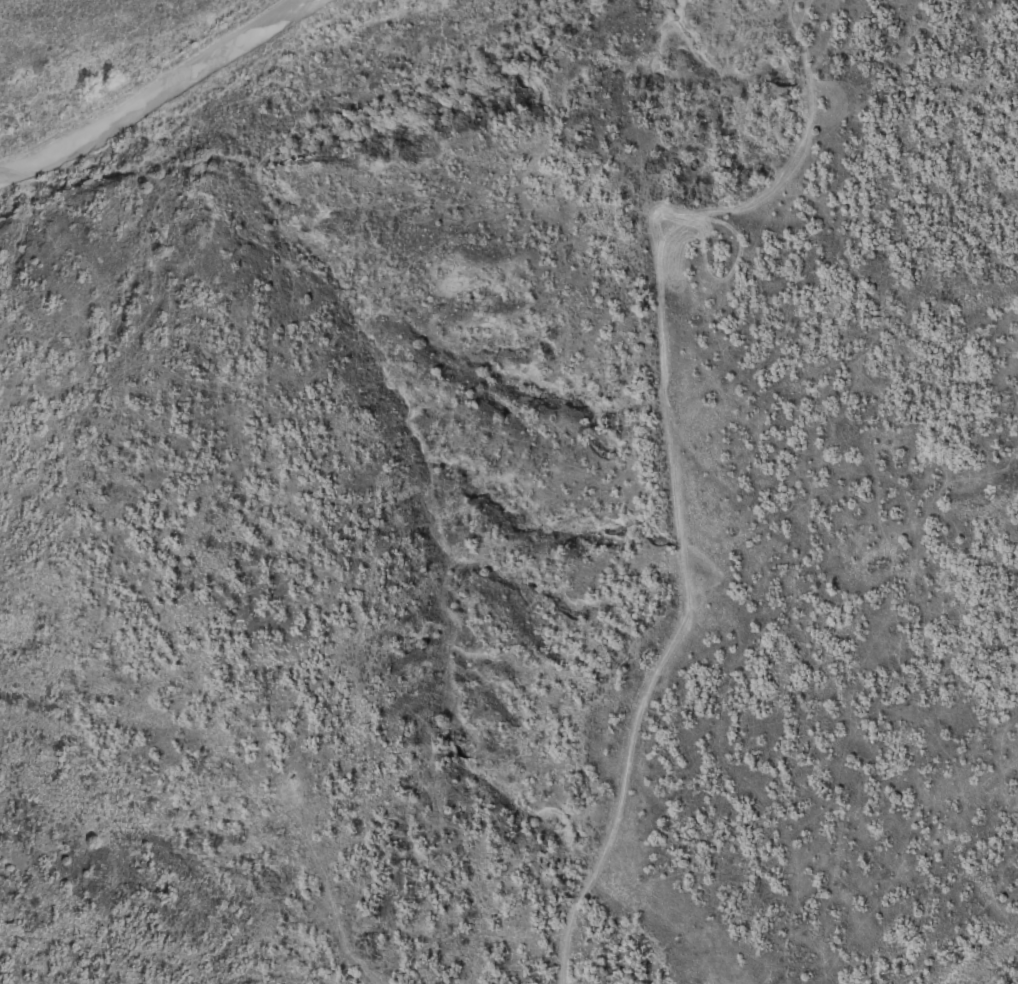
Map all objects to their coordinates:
road: (710, 212)
road: (651, 727)

